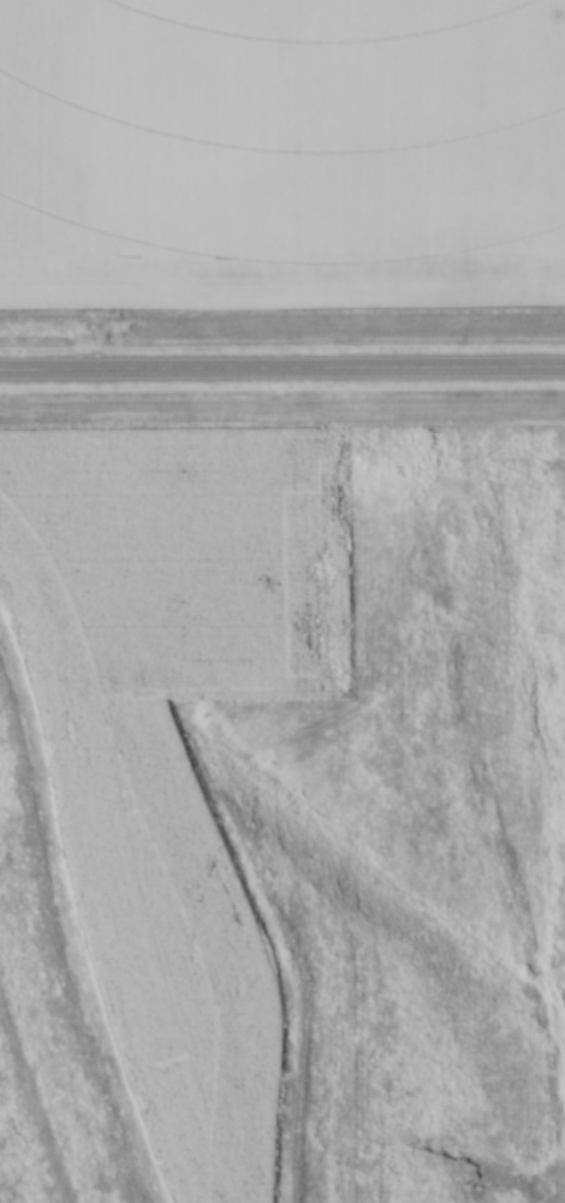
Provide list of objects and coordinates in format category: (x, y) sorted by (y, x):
road: (282, 377)

